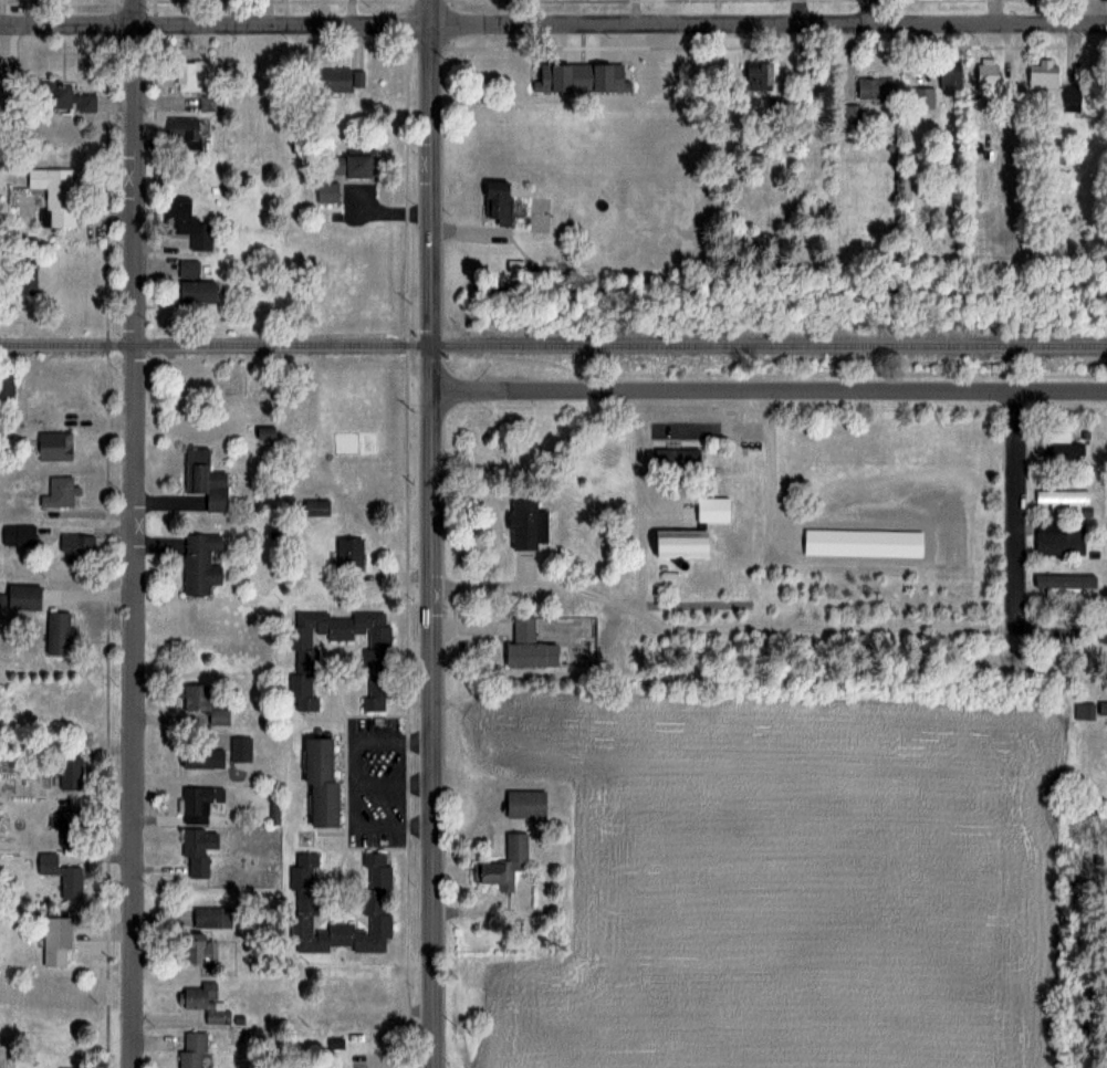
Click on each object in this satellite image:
road: (876, 12)
road: (553, 25)
building: (489, 69)
building: (514, 71)
building: (985, 74)
building: (1042, 74)
building: (190, 76)
building: (756, 76)
building: (332, 80)
building: (875, 88)
building: (1069, 94)
building: (62, 97)
building: (922, 97)
building: (852, 114)
building: (181, 129)
building: (348, 165)
building: (326, 192)
building: (54, 193)
building: (497, 201)
building: (185, 223)
building: (24, 278)
building: (192, 284)
railway: (553, 345)
building: (7, 385)
road: (767, 392)
building: (1059, 443)
building: (55, 444)
building: (675, 458)
building: (203, 479)
building: (58, 492)
building: (1059, 499)
road: (639, 501)
building: (315, 506)
road: (1013, 510)
building: (525, 524)
road: (431, 533)
road: (135, 534)
building: (17, 535)
building: (1058, 536)
building: (678, 544)
building: (76, 547)
building: (348, 553)
building: (198, 563)
building: (1062, 584)
building: (21, 597)
road: (765, 626)
building: (58, 632)
building: (528, 645)
building: (302, 667)
building: (205, 702)
building: (1106, 708)
building: (239, 748)
building: (199, 758)
building: (67, 773)
building: (318, 782)
road: (393, 782)
road: (352, 783)
building: (198, 803)
building: (525, 803)
building: (197, 849)
building: (503, 865)
building: (60, 875)
building: (376, 902)
building: (211, 917)
building: (197, 949)
building: (206, 1002)
building: (190, 1049)

